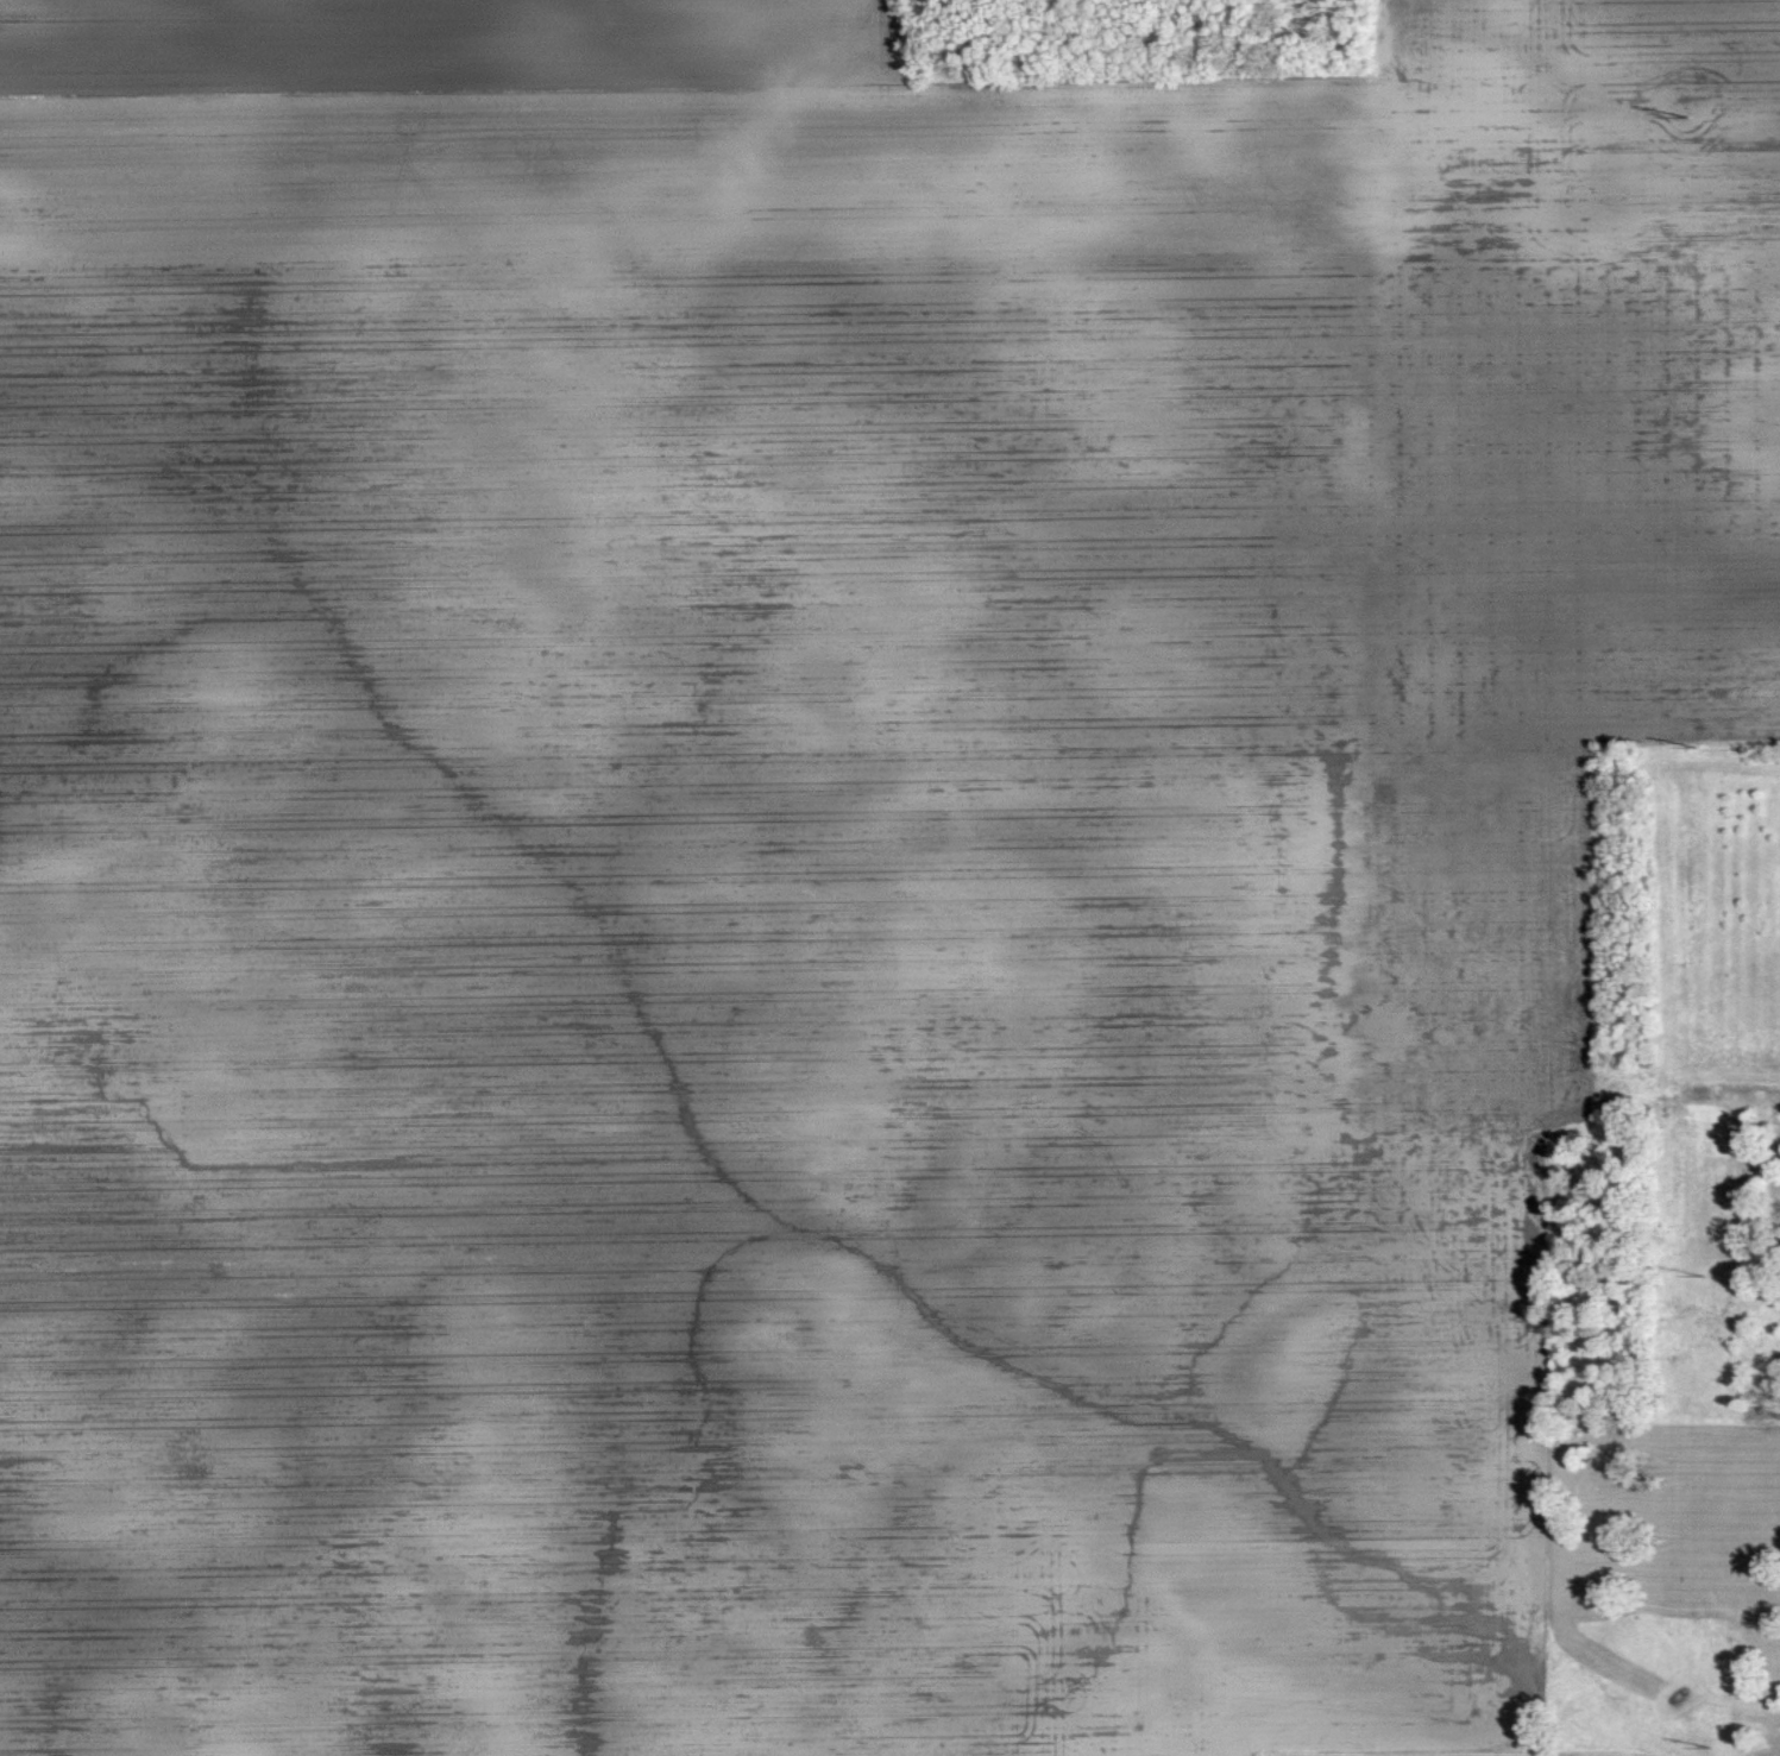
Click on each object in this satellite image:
power tower: (1688, 117)
power tower: (1696, 744)
power tower: (1704, 1271)
power tower: (1710, 1746)

